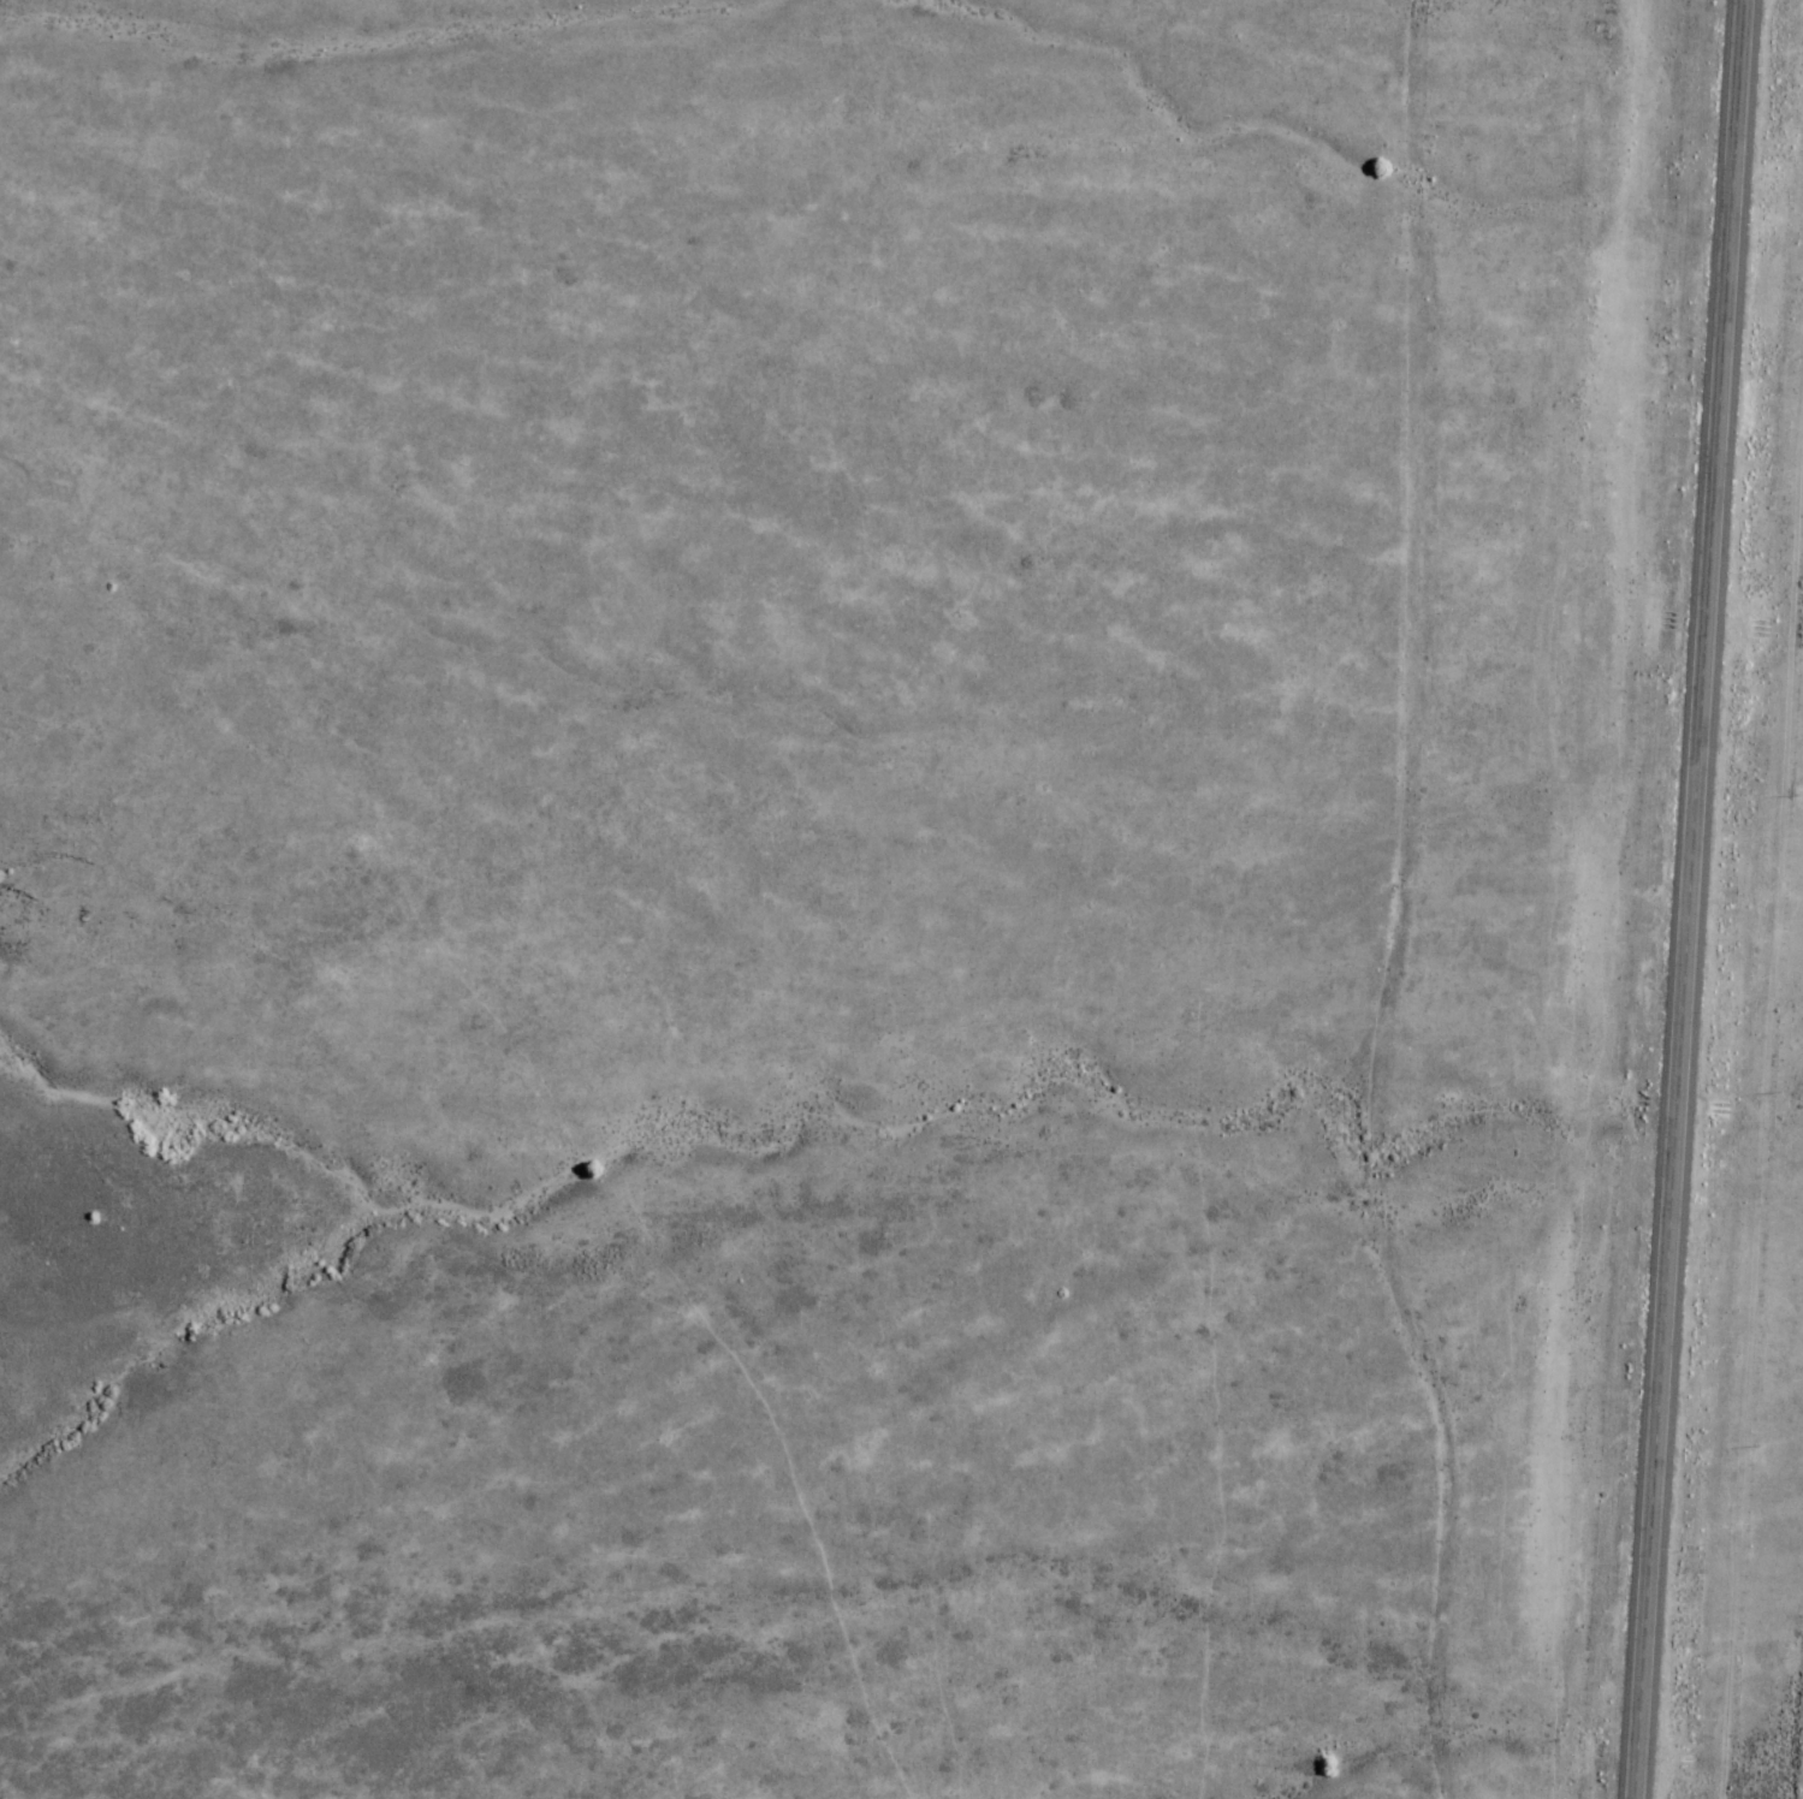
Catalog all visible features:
road: (1689, 900)

